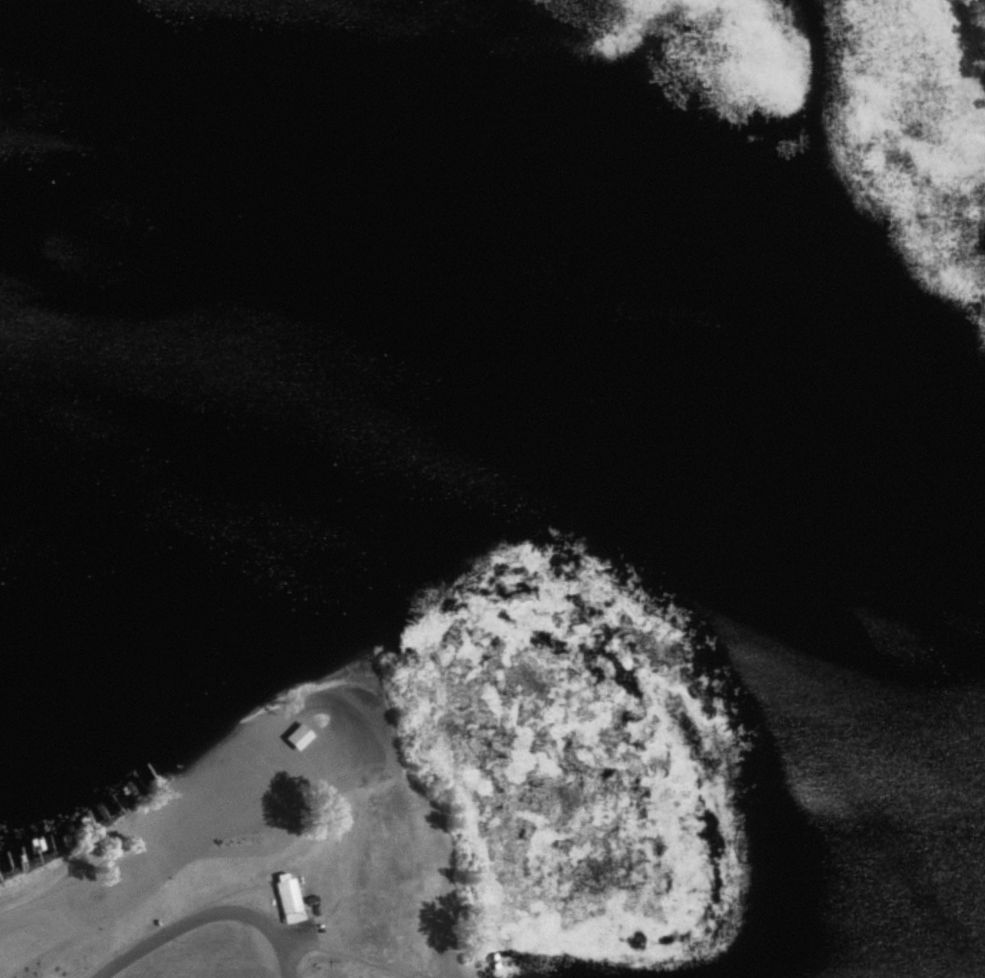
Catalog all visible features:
building: (142, 722)
building: (293, 737)
road: (48, 885)
building: (289, 899)
road: (209, 914)
road: (351, 956)

